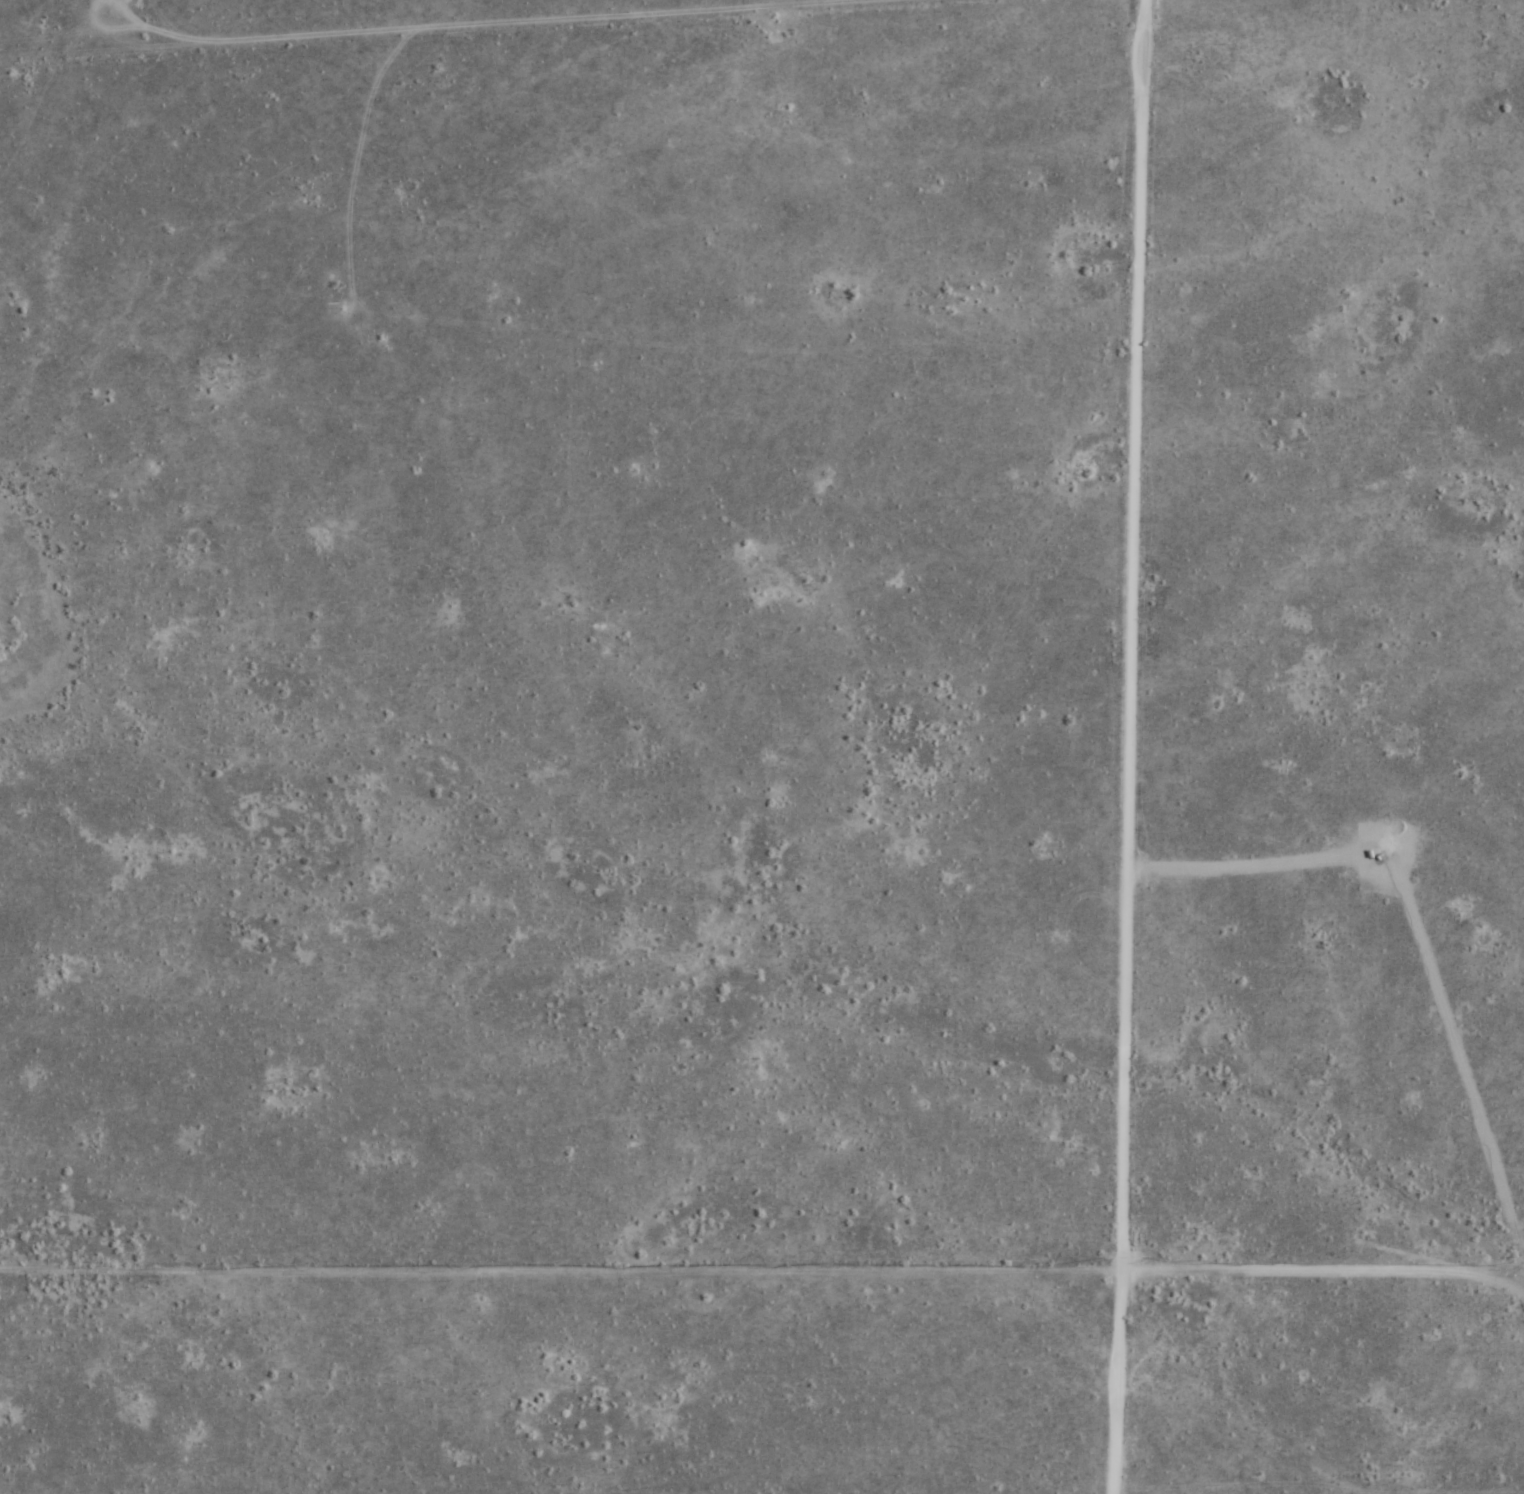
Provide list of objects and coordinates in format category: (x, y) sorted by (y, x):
road: (1123, 747)

